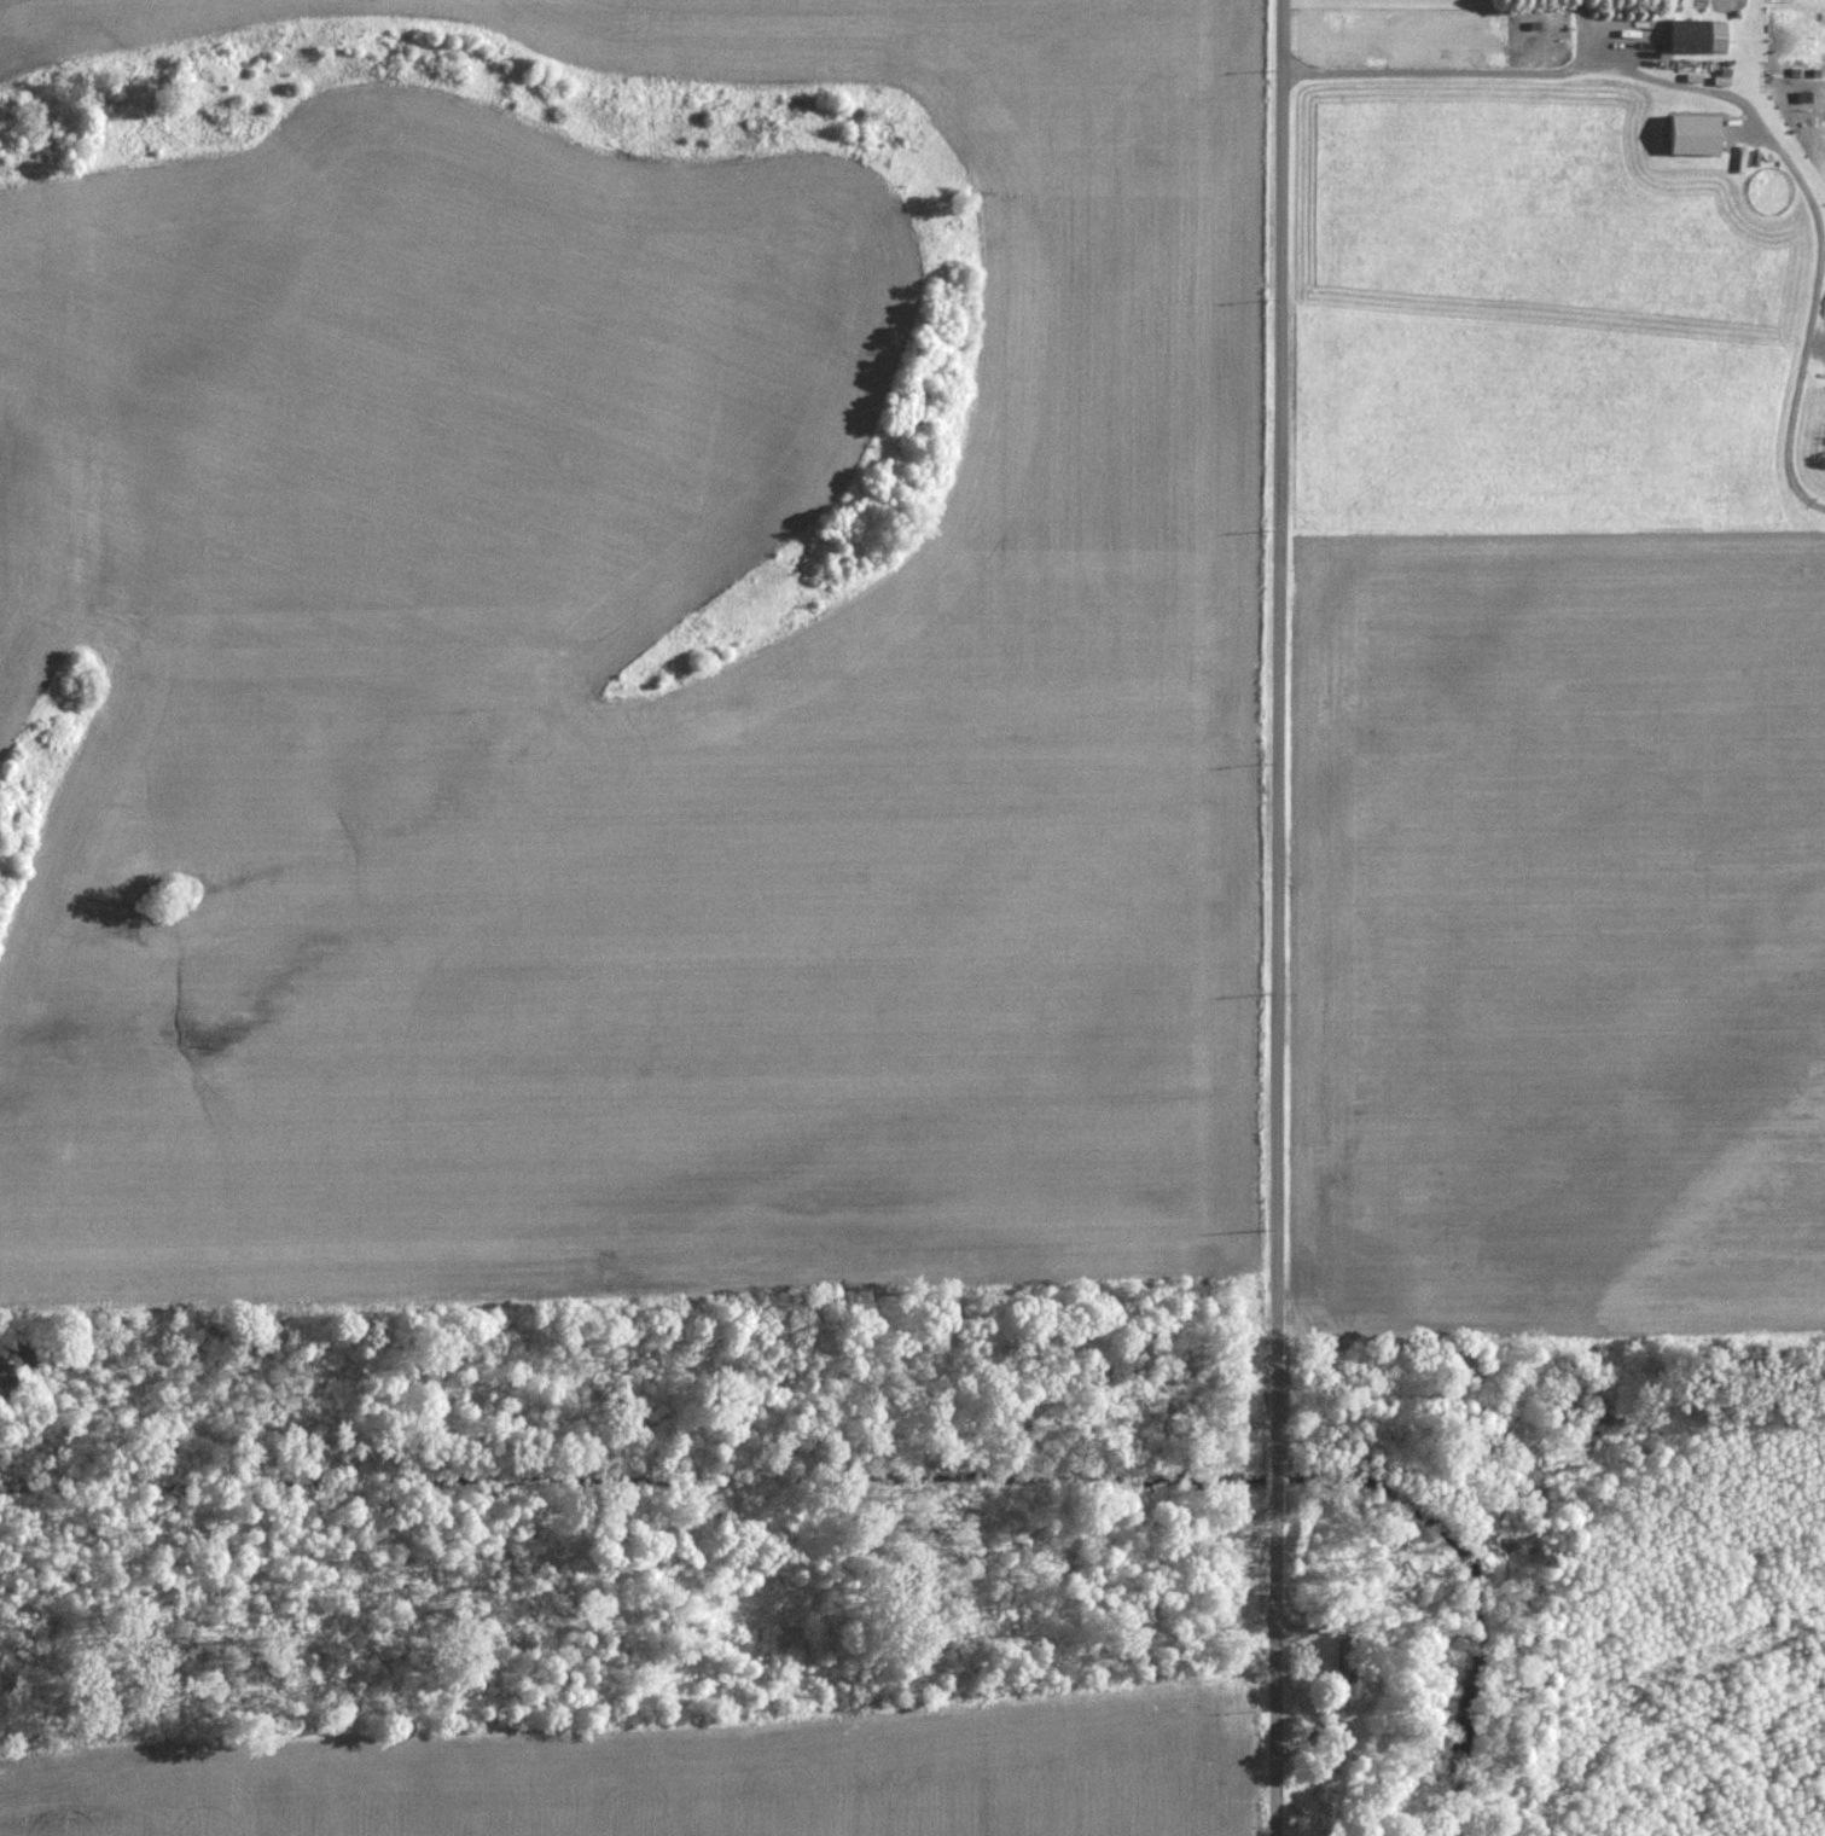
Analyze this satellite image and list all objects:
building: (1696, 36)
road: (1467, 72)
building: (1687, 135)
road: (1815, 226)
road: (1278, 917)

